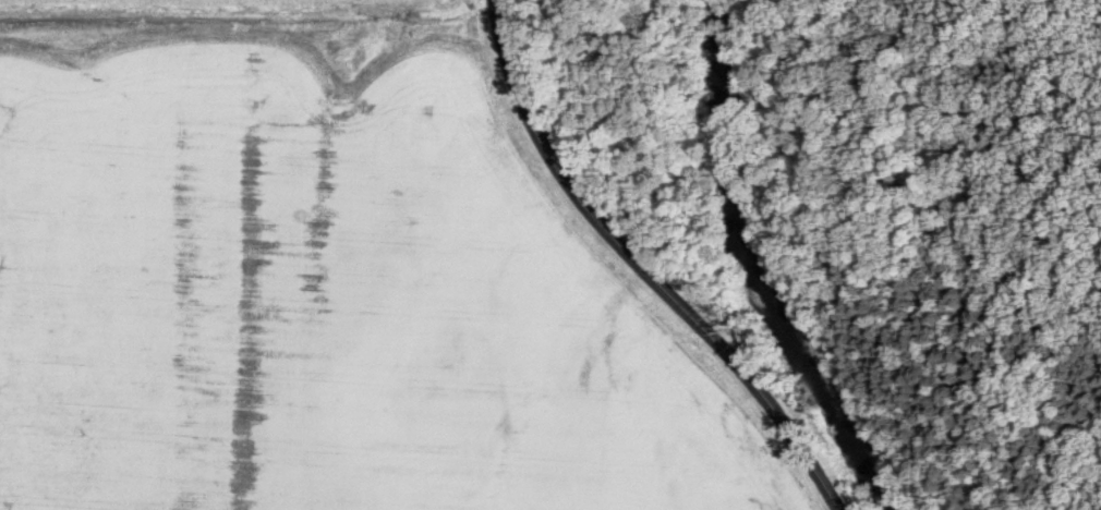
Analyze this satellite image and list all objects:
road: (638, 268)

